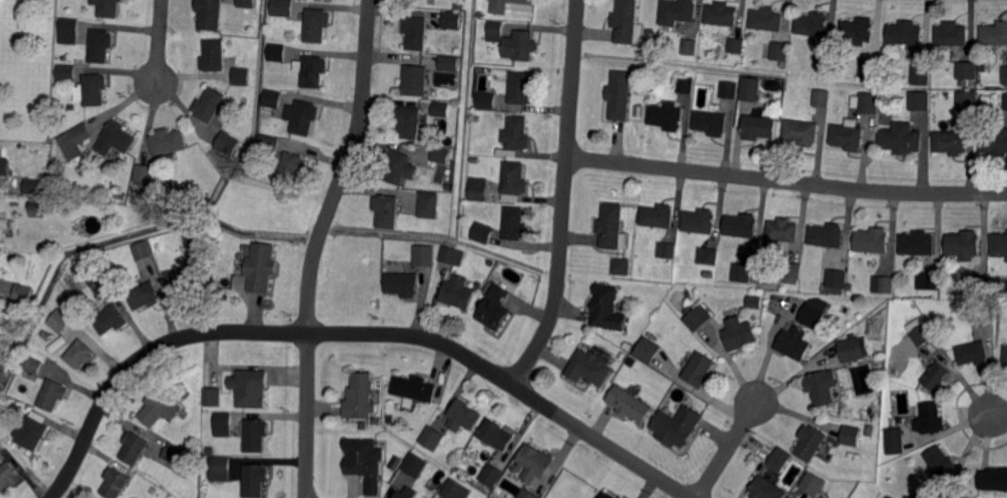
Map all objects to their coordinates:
building: (247, 2)
building: (507, 5)
building: (456, 6)
building: (108, 7)
building: (282, 8)
building: (676, 12)
building: (210, 13)
building: (721, 14)
building: (767, 18)
building: (453, 19)
building: (625, 21)
building: (318, 24)
building: (812, 24)
building: (68, 31)
building: (496, 31)
building: (857, 31)
building: (416, 32)
building: (906, 32)
building: (995, 33)
building: (952, 34)
road: (159, 41)
building: (101, 45)
building: (521, 45)
building: (736, 45)
building: (689, 46)
building: (780, 51)
building: (278, 52)
building: (214, 55)
building: (826, 55)
building: (449, 64)
building: (869, 70)
building: (968, 70)
building: (314, 71)
building: (65, 72)
building: (921, 74)
building: (242, 75)
building: (1005, 76)
building: (415, 80)
building: (686, 84)
building: (521, 88)
building: (95, 89)
building: (729, 89)
building: (750, 89)
building: (620, 95)
building: (822, 97)
building: (273, 98)
building: (486, 100)
building: (920, 100)
building: (968, 100)
building: (1006, 101)
building: (869, 103)
building: (208, 105)
building: (455, 109)
building: (441, 110)
building: (667, 115)
building: (303, 116)
building: (478, 118)
building: (409, 121)
building: (710, 122)
building: (759, 127)
building: (802, 132)
building: (516, 136)
building: (848, 136)
building: (116, 138)
building: (900, 139)
building: (74, 140)
building: (169, 141)
building: (952, 141)
building: (228, 143)
building: (995, 143)
building: (270, 145)
building: (440, 156)
building: (246, 160)
building: (4, 165)
building: (396, 166)
building: (292, 168)
building: (144, 173)
building: (514, 181)
road: (786, 181)
building: (30, 184)
building: (449, 186)
building: (479, 188)
building: (118, 193)
building: (153, 193)
road: (564, 197)
building: (182, 199)
building: (429, 205)
building: (36, 207)
building: (387, 210)
building: (658, 216)
building: (700, 221)
building: (515, 223)
building: (742, 225)
building: (613, 226)
building: (783, 229)
building: (483, 232)
building: (1, 233)
building: (826, 235)
building: (195, 237)
building: (871, 237)
building: (918, 242)
building: (965, 244)
building: (1000, 244)
road: (317, 245)
building: (667, 249)
building: (139, 251)
building: (423, 256)
building: (713, 256)
building: (451, 257)
building: (622, 266)
building: (261, 267)
building: (793, 271)
building: (743, 272)
building: (92, 275)
building: (183, 280)
building: (835, 281)
building: (885, 281)
building: (930, 281)
building: (402, 285)
building: (980, 286)
building: (850, 288)
building: (23, 293)
building: (457, 293)
building: (144, 296)
building: (491, 308)
building: (604, 309)
building: (983, 311)
building: (697, 316)
building: (812, 316)
building: (110, 319)
building: (60, 320)
building: (740, 332)
road: (352, 333)
building: (924, 334)
building: (796, 342)
building: (853, 349)
building: (649, 350)
building: (973, 352)
building: (80, 353)
building: (1006, 355)
building: (33, 365)
building: (589, 368)
building: (699, 369)
building: (937, 375)
building: (253, 388)
building: (415, 388)
building: (822, 388)
building: (178, 389)
building: (53, 394)
building: (214, 397)
building: (360, 398)
building: (630, 404)
building: (159, 408)
building: (23, 409)
building: (464, 415)
road: (998, 415)
building: (933, 417)
building: (390, 420)
building: (378, 421)
building: (223, 423)
building: (677, 427)
building: (870, 431)
building: (31, 433)
building: (255, 434)
building: (497, 434)
building: (852, 435)
building: (432, 437)
building: (896, 440)
building: (811, 442)
building: (1, 445)
building: (134, 447)
building: (211, 450)
road: (727, 450)
building: (403, 453)
building: (176, 454)
building: (360, 458)
building: (779, 460)
building: (535, 462)
building: (941, 462)
building: (416, 465)
building: (221, 468)
building: (9, 475)
building: (492, 475)
building: (994, 478)
building: (256, 479)
building: (116, 482)
building: (812, 485)
building: (457, 489)
building: (768, 489)
building: (407, 493)
building: (161, 494)
building: (529, 494)
building: (922, 494)
building: (608, 495)
building: (622, 497)

